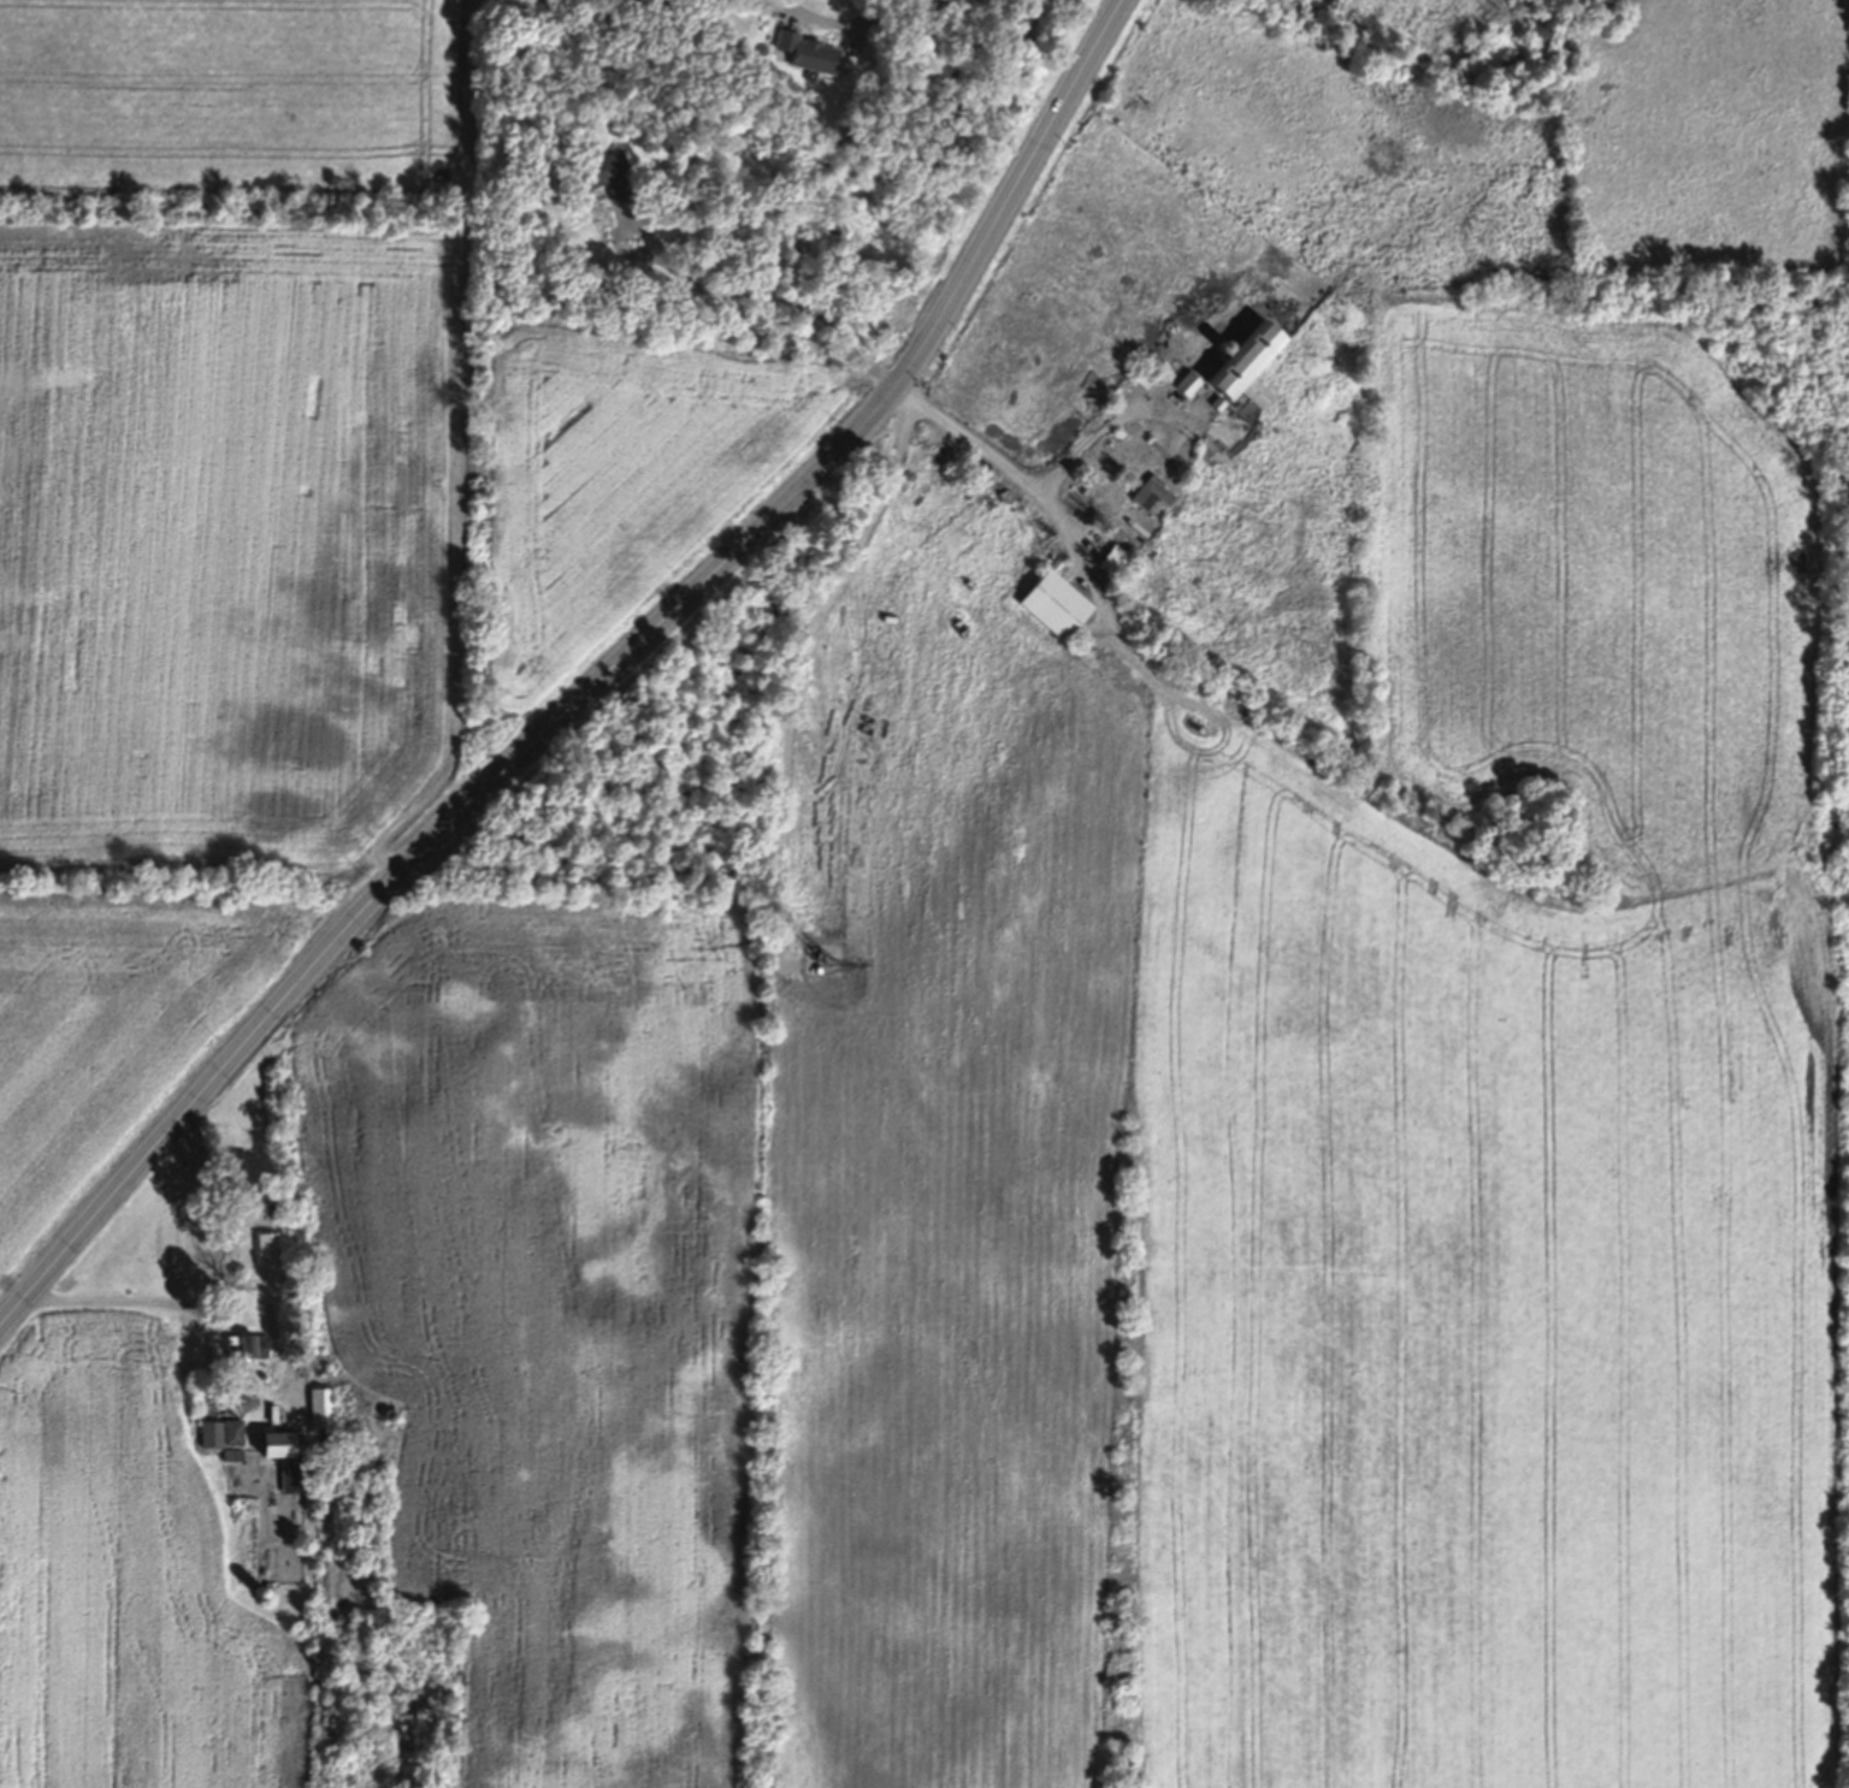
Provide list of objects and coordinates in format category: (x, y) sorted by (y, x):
road: (736, 288)
building: (1163, 351)
building: (1258, 361)
building: (1192, 383)
road: (1028, 480)
building: (1159, 495)
building: (1121, 557)
building: (1062, 603)
road: (593, 689)
building: (268, 1245)
road: (203, 1301)
building: (248, 1346)
building: (223, 1433)
building: (283, 1444)

